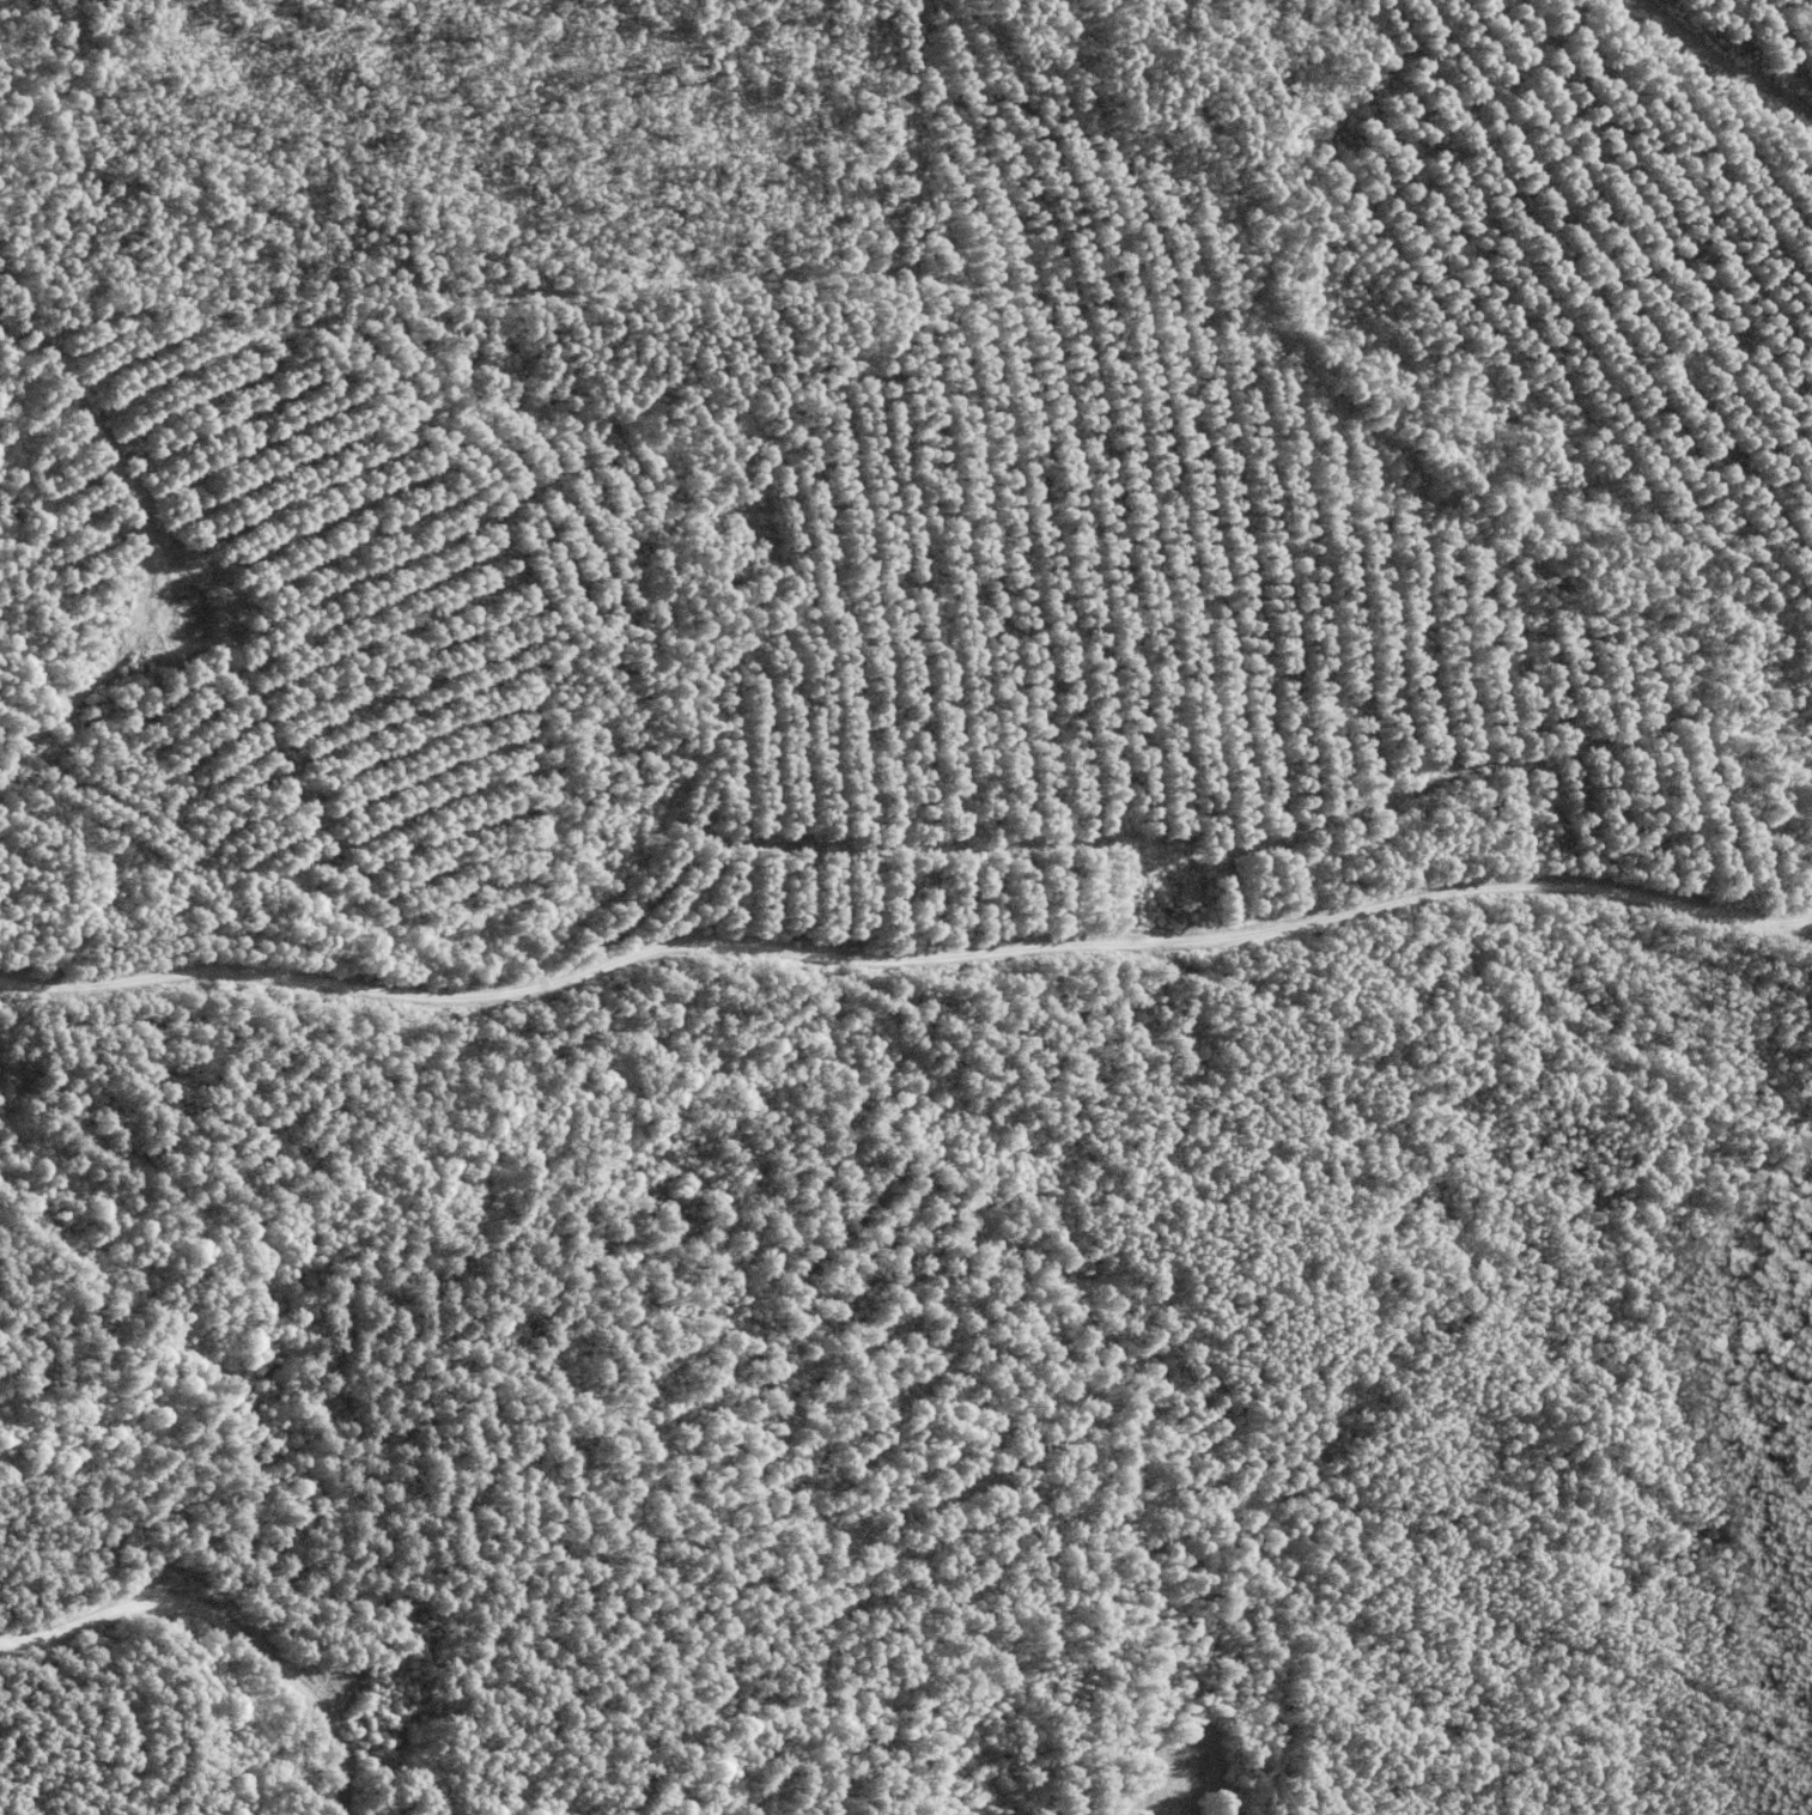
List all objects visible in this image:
road: (905, 964)
road: (220, 1632)

